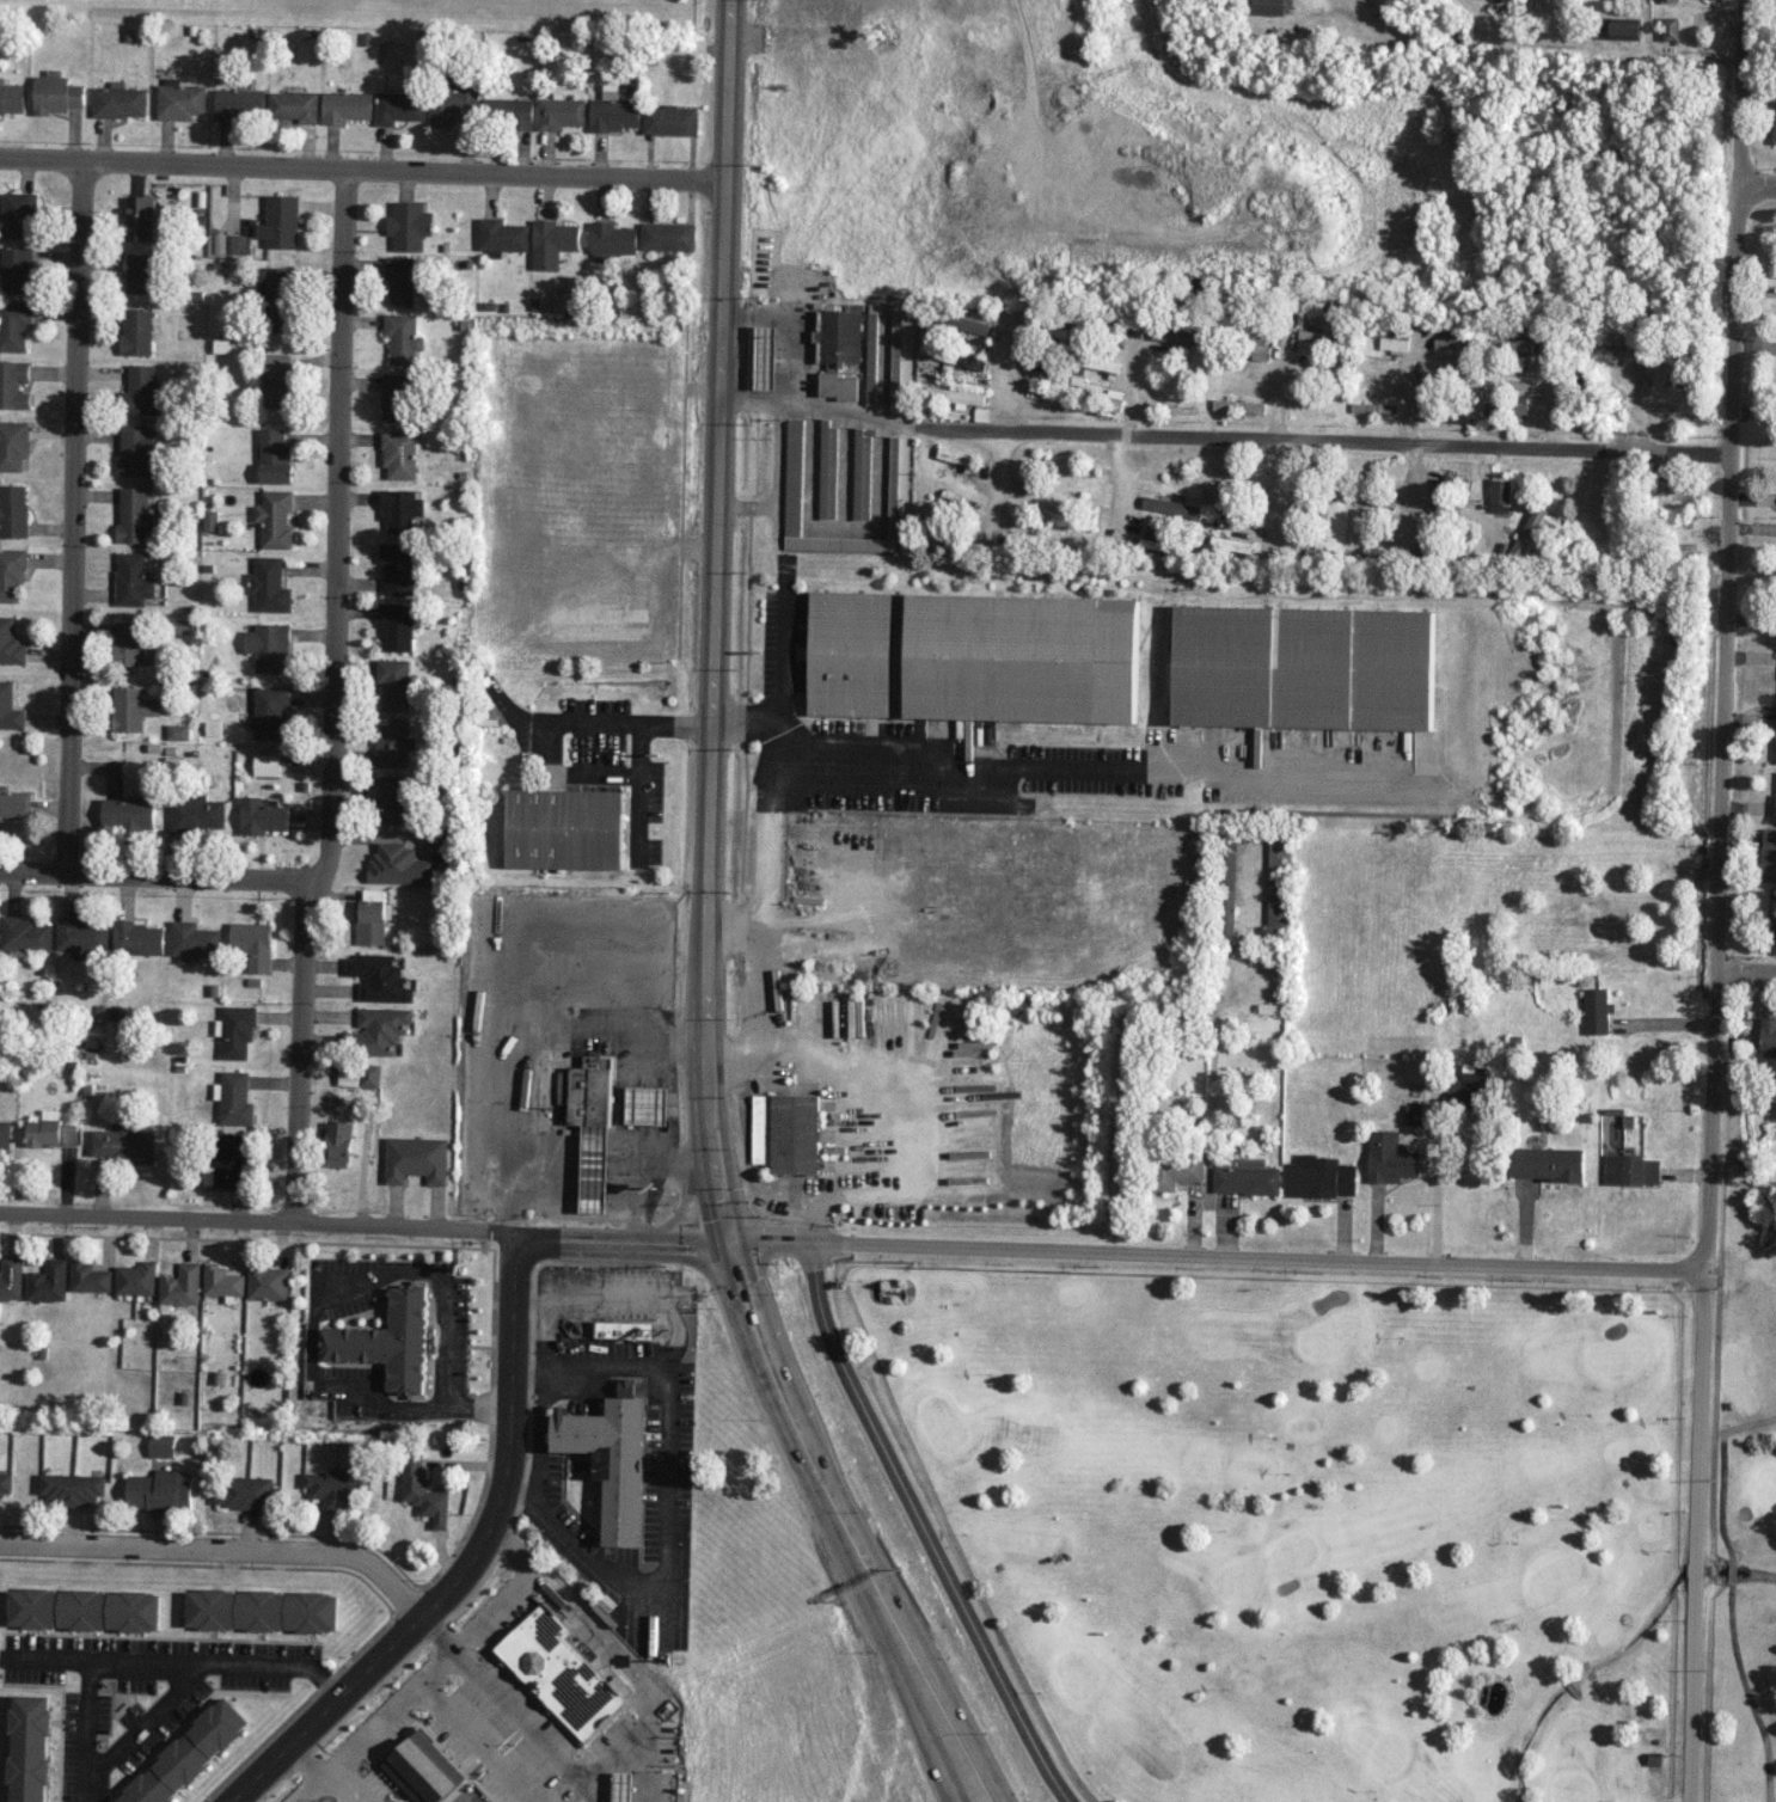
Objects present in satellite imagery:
building: (1673, 0)
building: (1268, 6)
building: (1624, 27)
building: (1670, 29)
building: (56, 93)
building: (12, 97)
building: (180, 100)
building: (120, 102)
building: (239, 103)
building: (295, 105)
building: (345, 106)
building: (399, 106)
building: (449, 106)
building: (508, 111)
building: (561, 112)
building: (616, 114)
building: (670, 119)
building: (1774, 127)
road: (362, 168)
road: (1758, 176)
building: (19, 214)
building: (140, 217)
building: (281, 221)
building: (410, 225)
building: (503, 235)
building: (668, 235)
building: (612, 240)
building: (553, 241)
building: (231, 243)
building: (17, 270)
building: (140, 272)
building: (403, 280)
building: (280, 299)
building: (567, 300)
building: (962, 321)
road: (782, 324)
building: (14, 325)
building: (1116, 330)
building: (137, 331)
building: (1319, 336)
building: (404, 337)
building: (838, 337)
building: (1394, 337)
building: (1452, 343)
building: (766, 357)
building: (963, 358)
building: (1098, 362)
building: (280, 379)
building: (14, 384)
building: (838, 386)
building: (141, 391)
building: (956, 396)
building: (399, 397)
road: (819, 398)
building: (1239, 405)
building: (982, 413)
road: (1323, 431)
building: (14, 446)
building: (137, 449)
building: (399, 453)
building: (275, 456)
building: (956, 456)
building: (794, 467)
building: (828, 470)
building: (862, 474)
building: (898, 474)
building: (1501, 495)
road: (747, 507)
building: (1172, 507)
building: (13, 510)
building: (400, 510)
building: (135, 514)
road: (73, 516)
building: (275, 519)
road: (337, 526)
building: (1159, 540)
building: (1232, 544)
road: (780, 560)
building: (397, 568)
building: (11, 572)
building: (131, 578)
building: (269, 586)
road: (715, 615)
building: (183, 625)
building: (396, 625)
road: (1726, 631)
building: (10, 642)
building: (130, 642)
building: (268, 646)
building: (973, 656)
building: (1304, 667)
building: (394, 682)
building: (8, 707)
building: (131, 707)
building: (268, 712)
building: (177, 731)
building: (391, 742)
road: (641, 752)
building: (1775, 759)
building: (264, 764)
road: (1037, 772)
building: (390, 799)
building: (14, 803)
building: (1775, 805)
building: (195, 813)
building: (127, 814)
building: (262, 815)
building: (565, 828)
building: (1769, 854)
building: (399, 865)
road: (158, 875)
building: (1279, 887)
building: (1227, 891)
building: (373, 894)
building: (369, 921)
building: (1775, 923)
road: (731, 931)
road: (757, 931)
building: (26, 933)
building: (82, 934)
building: (137, 938)
building: (194, 940)
building: (251, 944)
building: (795, 946)
road: (1746, 964)
building: (378, 977)
building: (1465, 1004)
building: (1591, 1004)
building: (237, 1030)
building: (376, 1030)
building: (1768, 1032)
road: (299, 1050)
building: (359, 1074)
building: (1469, 1086)
building: (592, 1091)
building: (233, 1098)
building: (648, 1105)
building: (44, 1128)
building: (786, 1130)
building: (5, 1135)
building: (122, 1144)
building: (337, 1144)
building: (1391, 1158)
building: (416, 1159)
building: (229, 1162)
building: (1547, 1164)
building: (1175, 1170)
building: (1631, 1170)
road: (1435, 1171)
building: (593, 1177)
building: (1321, 1177)
building: (1247, 1179)
road: (868, 1193)
road: (690, 1208)
road: (258, 1220)
road: (619, 1237)
road: (1211, 1246)
building: (11, 1277)
building: (90, 1277)
building: (136, 1279)
building: (48, 1281)
building: (222, 1281)
building: (268, 1282)
building: (182, 1285)
road: (333, 1292)
road: (629, 1293)
building: (626, 1329)
building: (391, 1340)
road: (531, 1373)
road: (482, 1403)
road: (540, 1434)
building: (161, 1445)
building: (612, 1455)
park: (1747, 1470)
building: (5, 1483)
building: (73, 1488)
building: (337, 1489)
road: (518, 1489)
building: (161, 1490)
building: (246, 1491)
building: (423, 1493)
road: (667, 1512)
road: (855, 1519)
road: (826, 1522)
road: (923, 1525)
park: (1313, 1525)
road: (1694, 1532)
road: (222, 1549)
road: (467, 1564)
building: (84, 1610)
building: (262, 1610)
road: (607, 1644)
road: (154, 1663)
building: (556, 1665)
road: (516, 1708)
road: (145, 1721)
road: (459, 1724)
road: (370, 1731)
building: (30, 1748)
building: (188, 1754)
building: (422, 1770)
road: (316, 1773)

